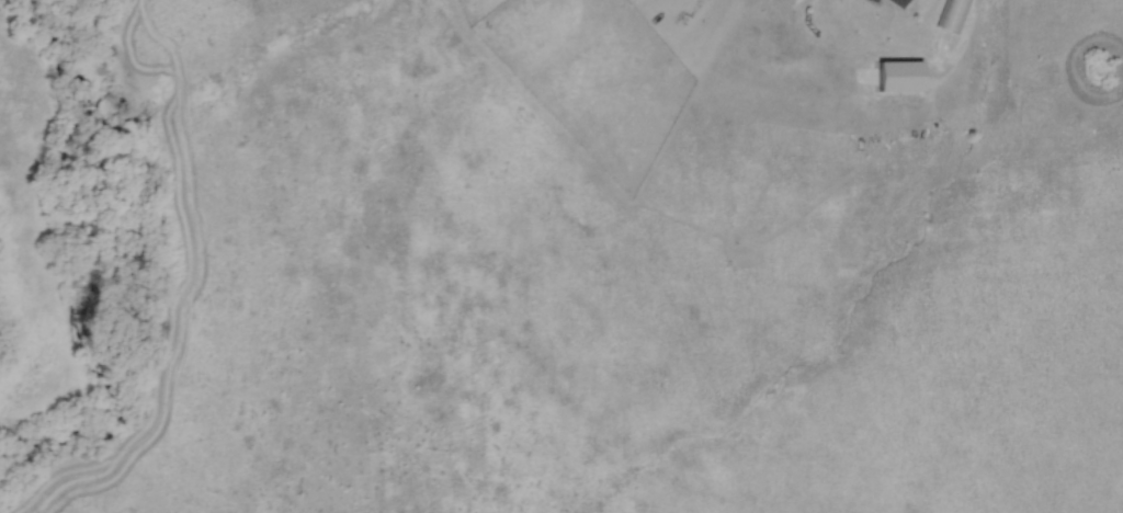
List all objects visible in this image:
building: (873, 1)
building: (897, 2)

